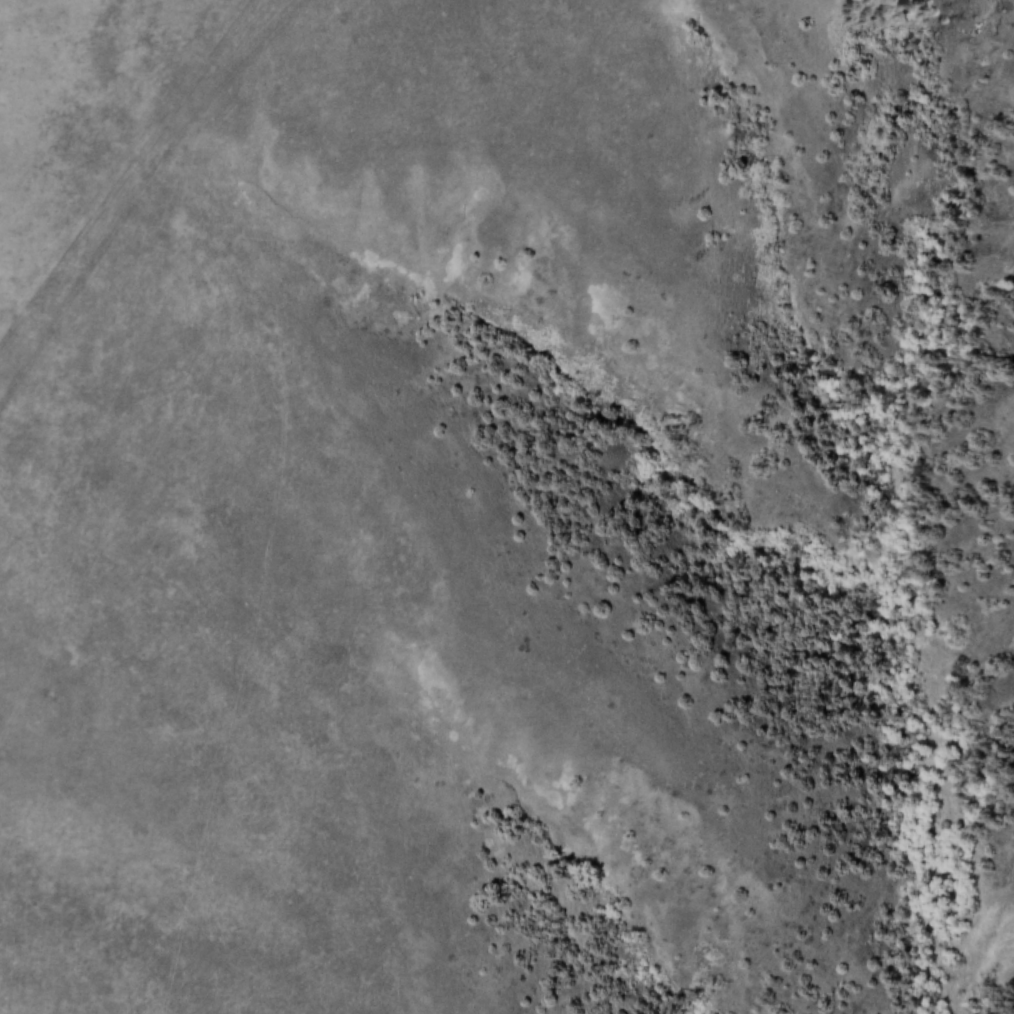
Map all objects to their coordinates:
road: (125, 209)

